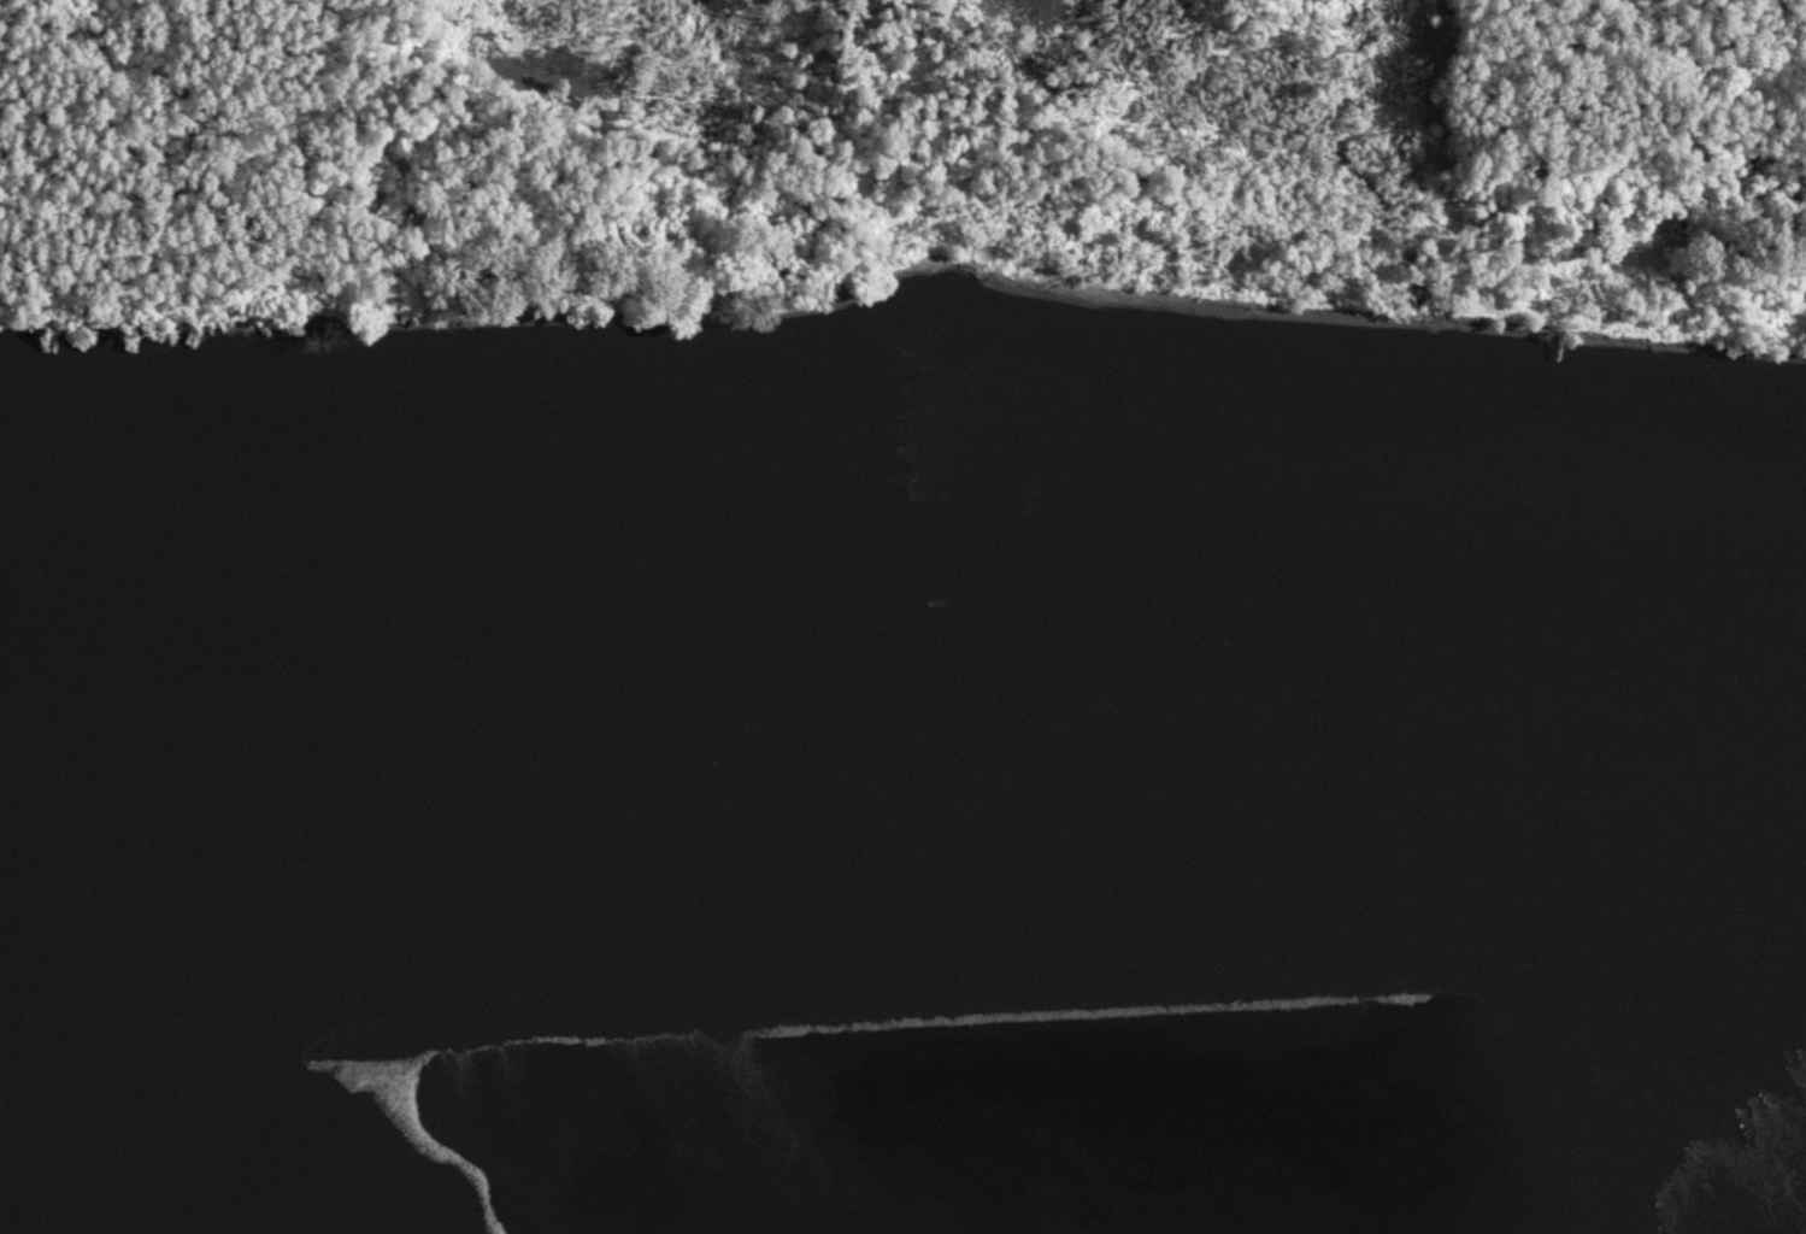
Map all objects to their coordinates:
river: (910, 699)

